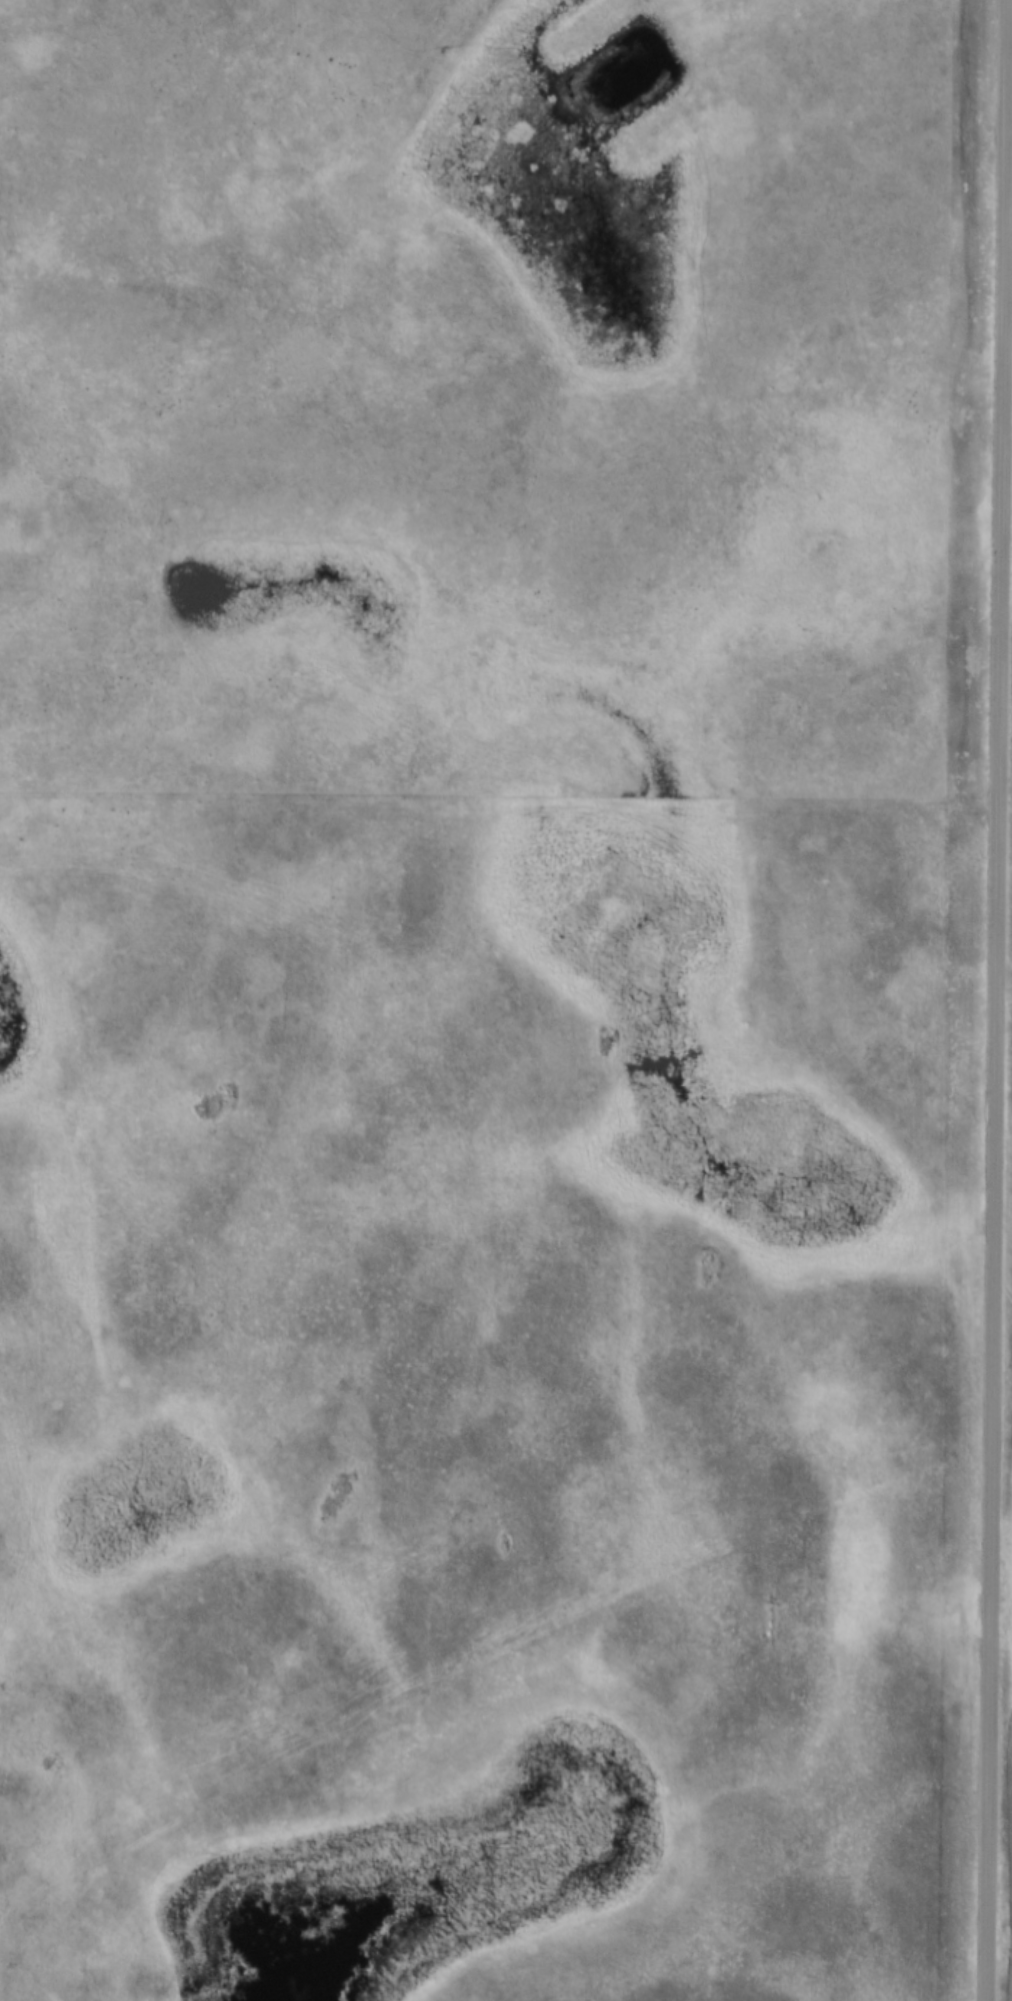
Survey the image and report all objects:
road: (1000, 1000)

